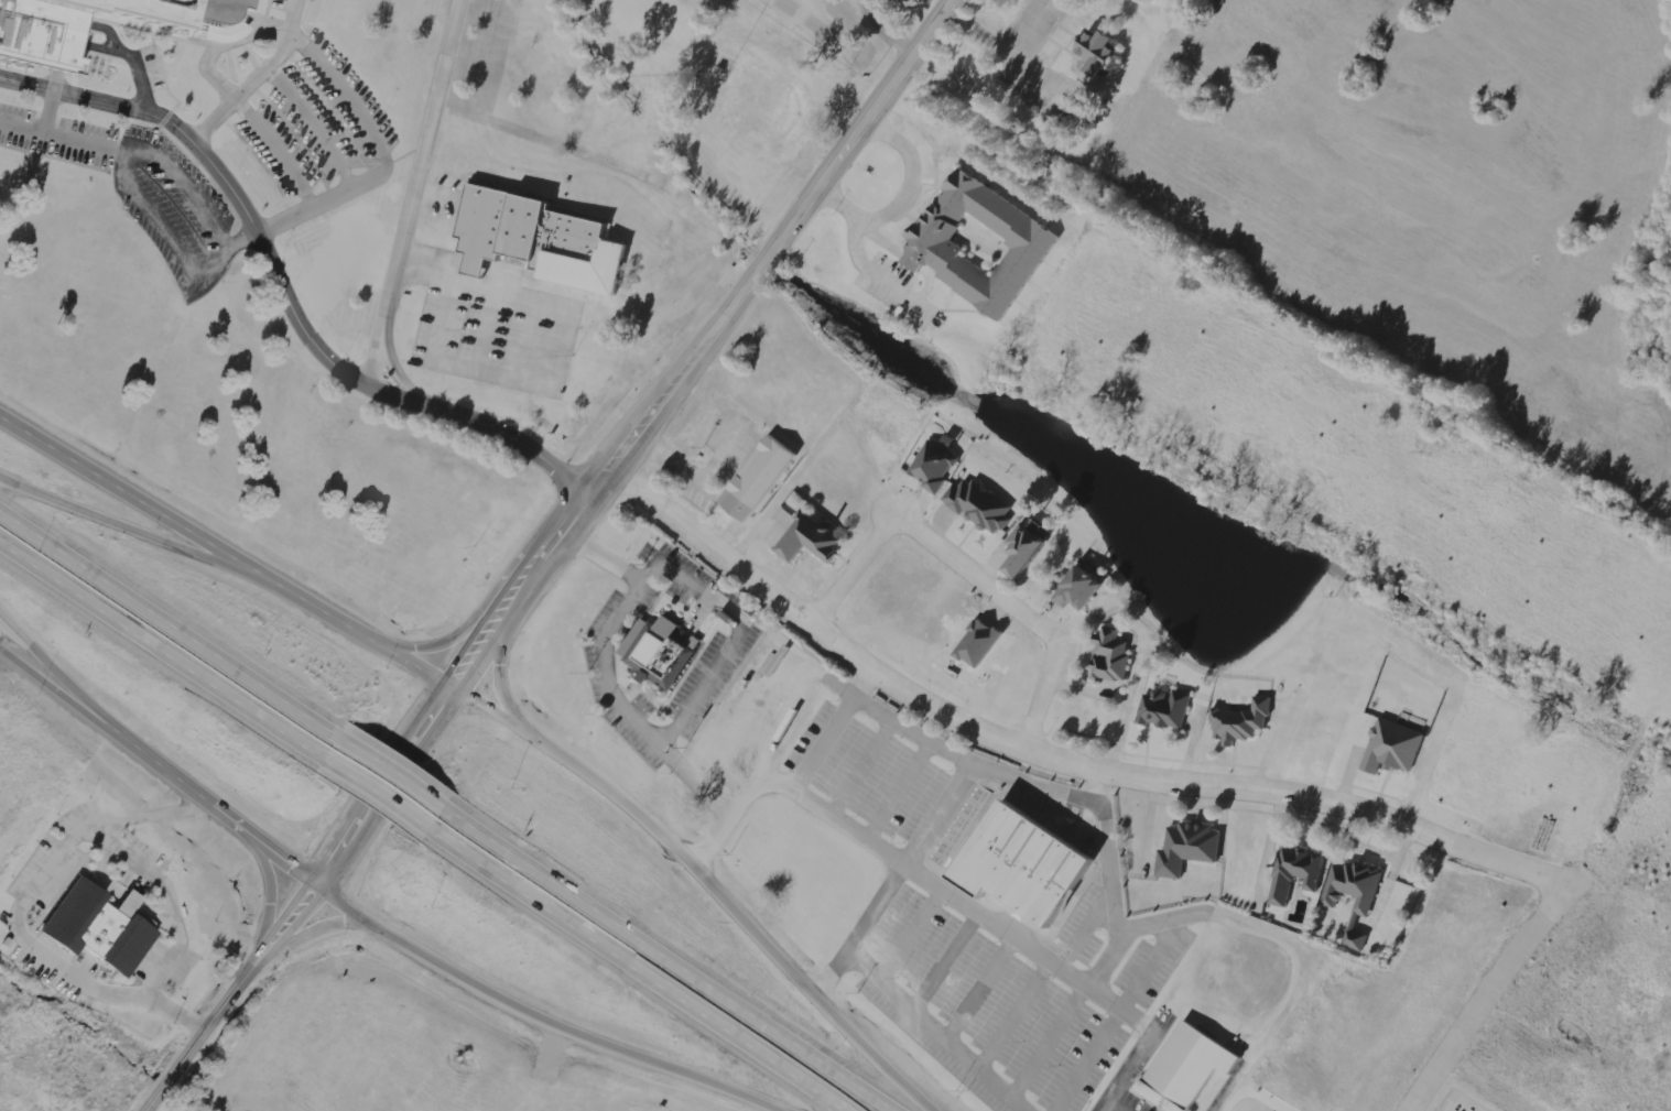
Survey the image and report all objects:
road: (294, 17)
road: (887, 31)
building: (41, 44)
building: (1100, 51)
road: (411, 190)
road: (905, 197)
road: (263, 227)
building: (538, 240)
building: (979, 246)
road: (764, 259)
road: (284, 292)
building: (931, 464)
building: (755, 477)
building: (975, 505)
road: (139, 535)
building: (807, 538)
building: (1020, 547)
road: (228, 557)
road: (853, 568)
road: (978, 575)
road: (499, 588)
building: (1072, 588)
road: (519, 603)
road: (165, 624)
road: (432, 641)
road: (156, 651)
building: (655, 651)
building: (1108, 654)
road: (606, 669)
road: (58, 675)
road: (503, 689)
road: (1038, 698)
building: (1160, 708)
building: (1237, 720)
building: (1387, 747)
road: (1053, 761)
road: (384, 769)
road: (162, 770)
road: (368, 792)
road: (347, 827)
road: (362, 837)
building: (1185, 848)
building: (1023, 861)
building: (1290, 871)
road: (712, 884)
road: (267, 902)
road: (975, 905)
building: (1357, 910)
road: (858, 924)
building: (97, 926)
road: (317, 927)
road: (665, 958)
road: (630, 969)
road: (1485, 994)
road: (540, 1020)
road: (197, 1041)
building: (1186, 1064)

